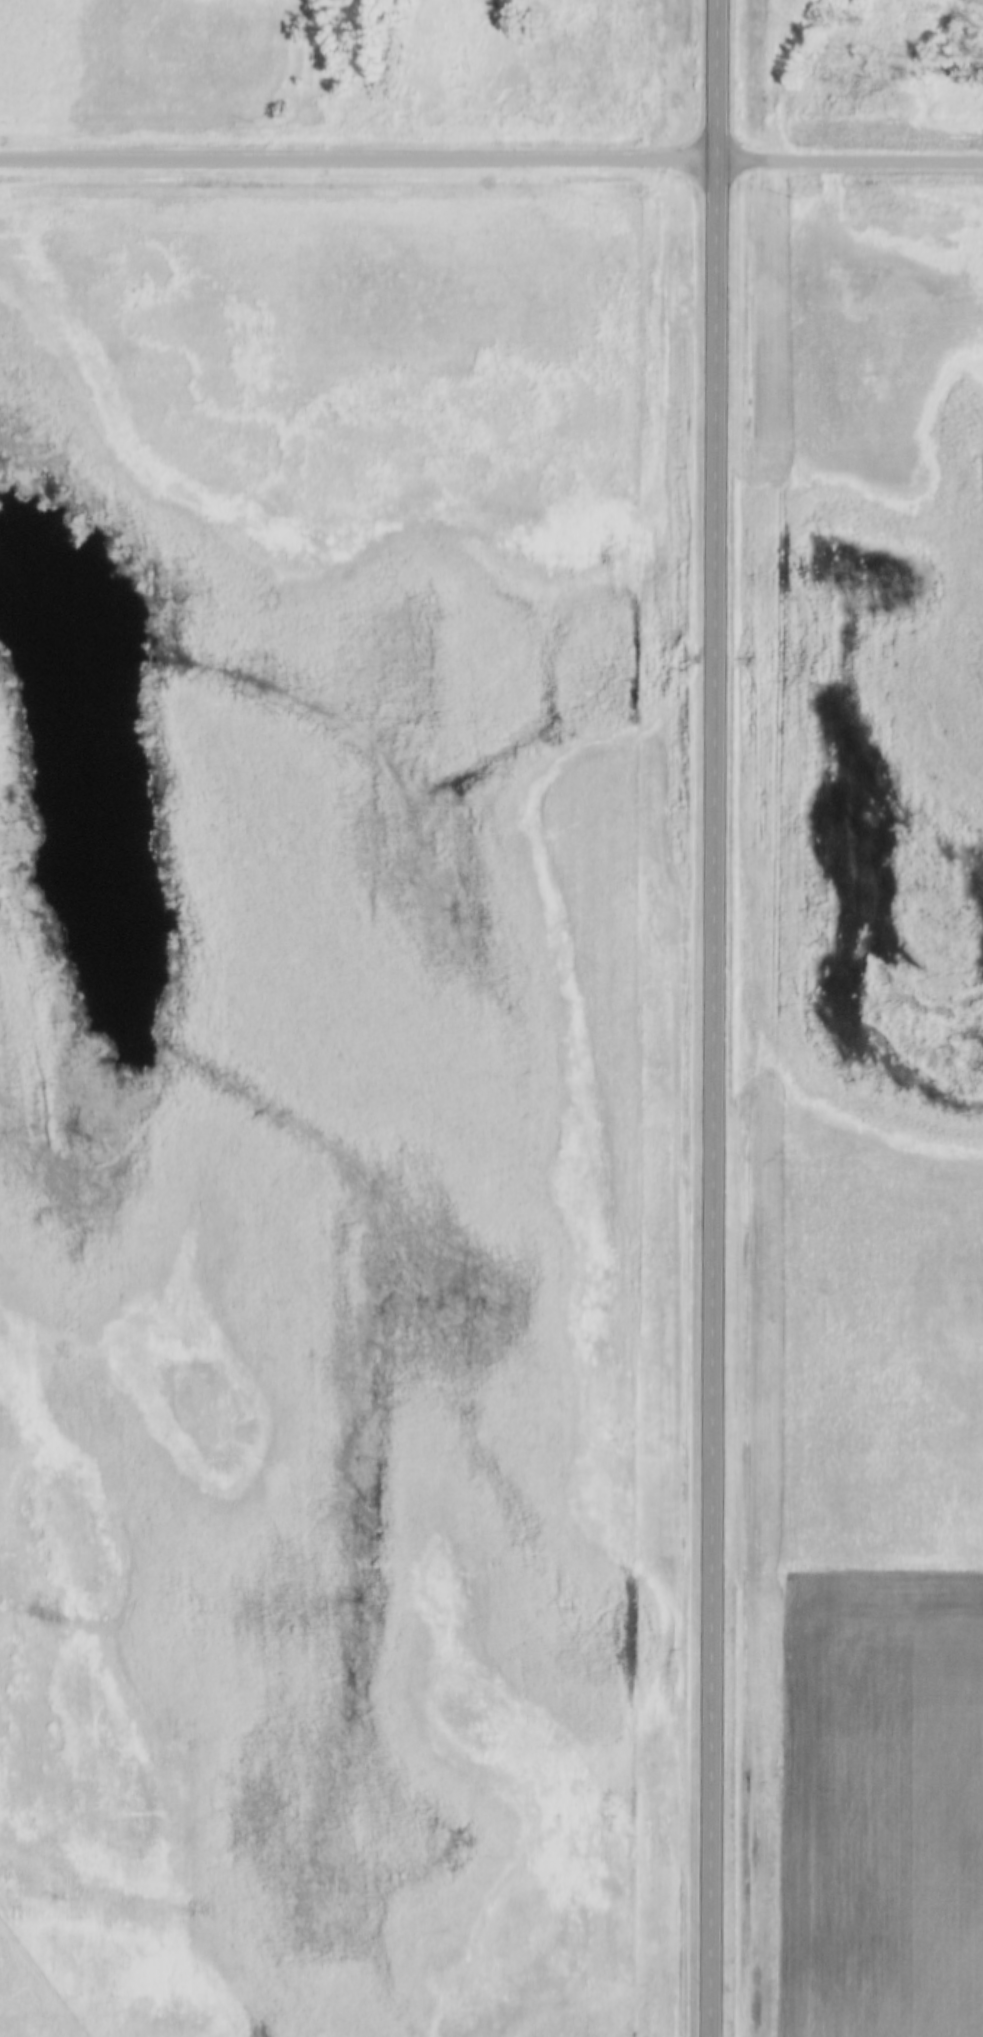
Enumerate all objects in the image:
road: (363, 165)
road: (854, 166)
road: (725, 1018)

